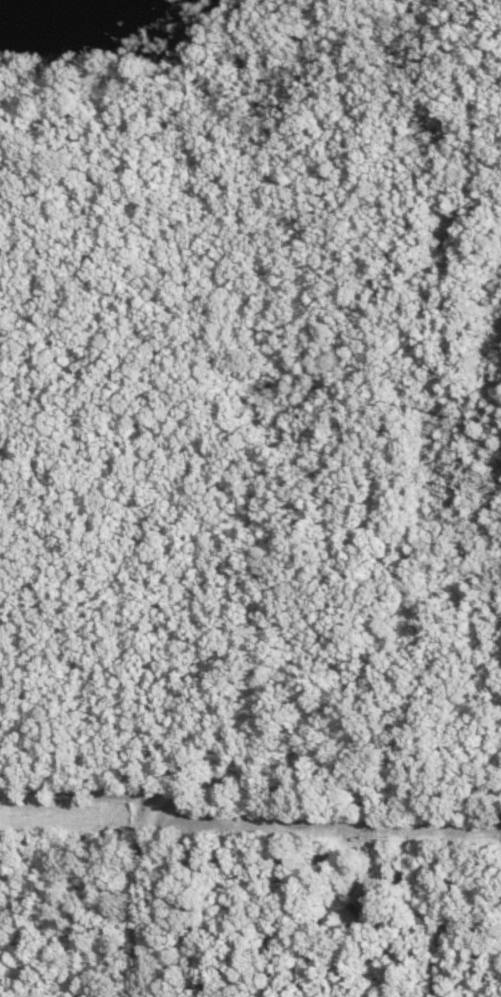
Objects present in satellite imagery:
road: (228, 785)
road: (85, 794)
building: (368, 915)

